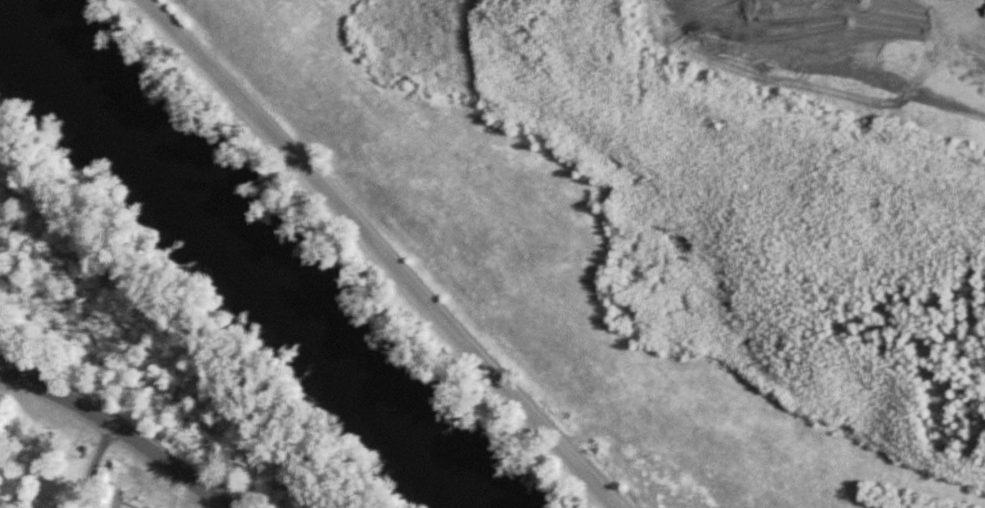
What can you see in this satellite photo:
road: (382, 250)
river: (250, 254)
road: (119, 427)
road: (94, 466)

